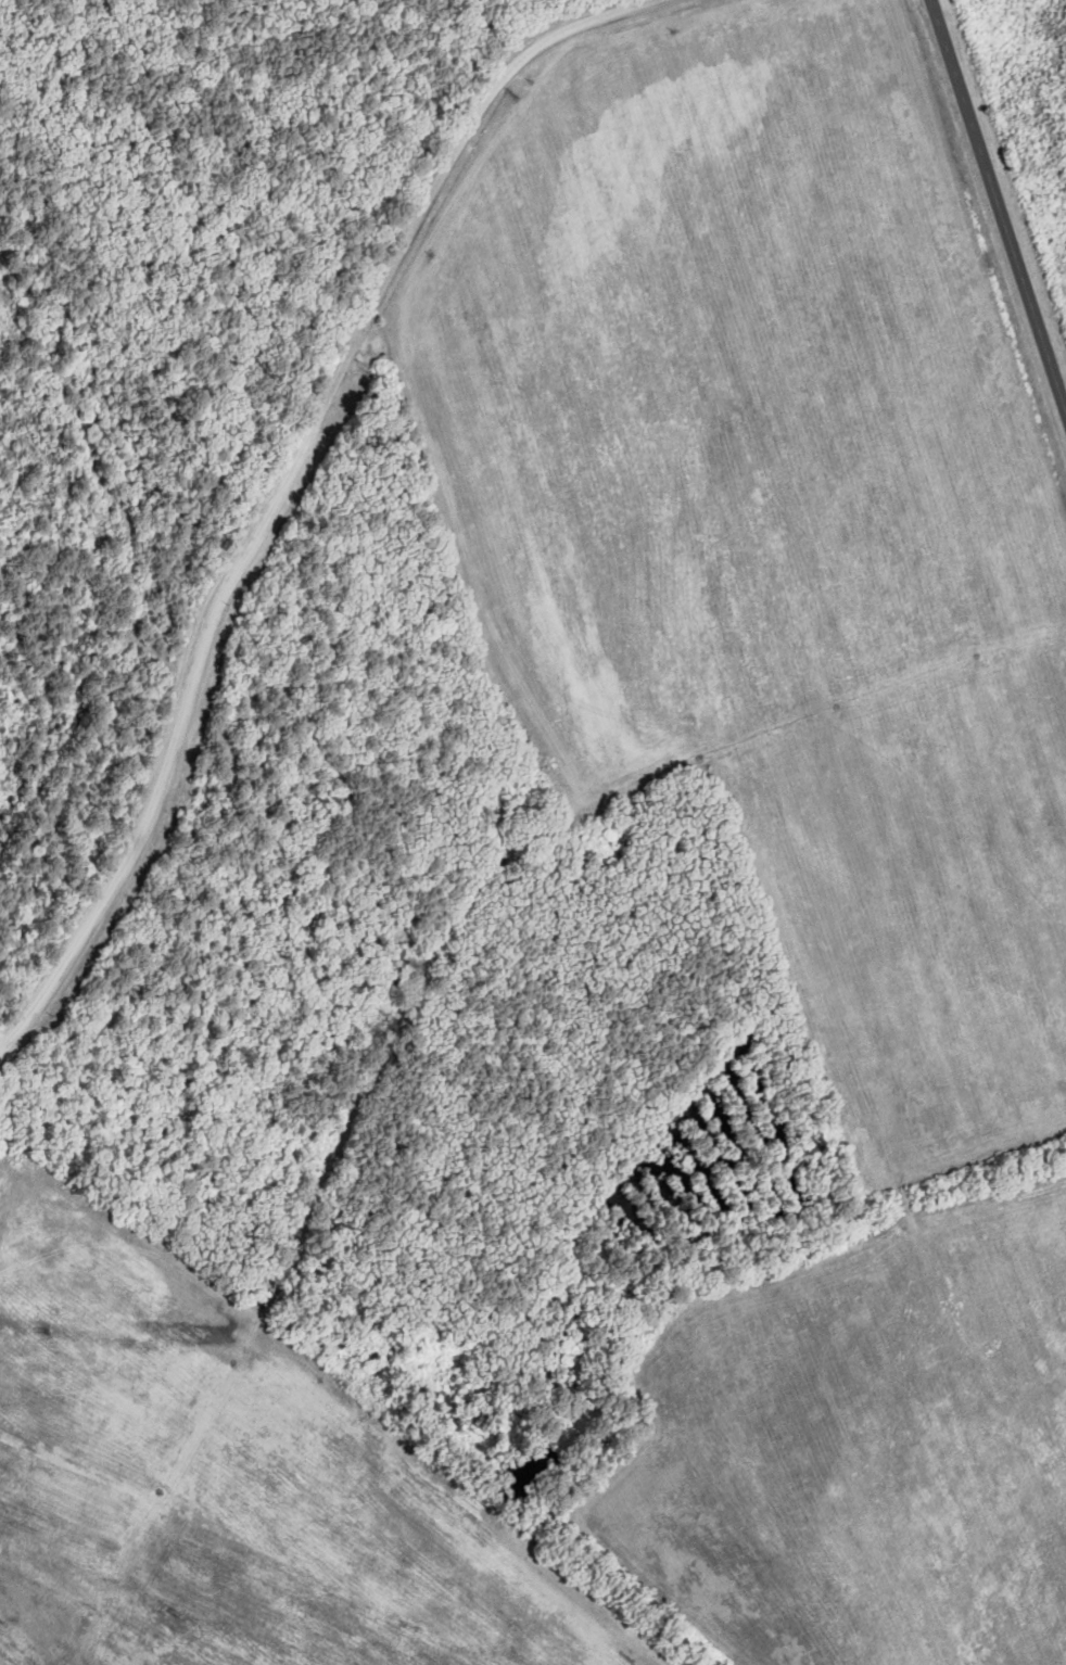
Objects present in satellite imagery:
road: (999, 204)
road: (283, 482)

